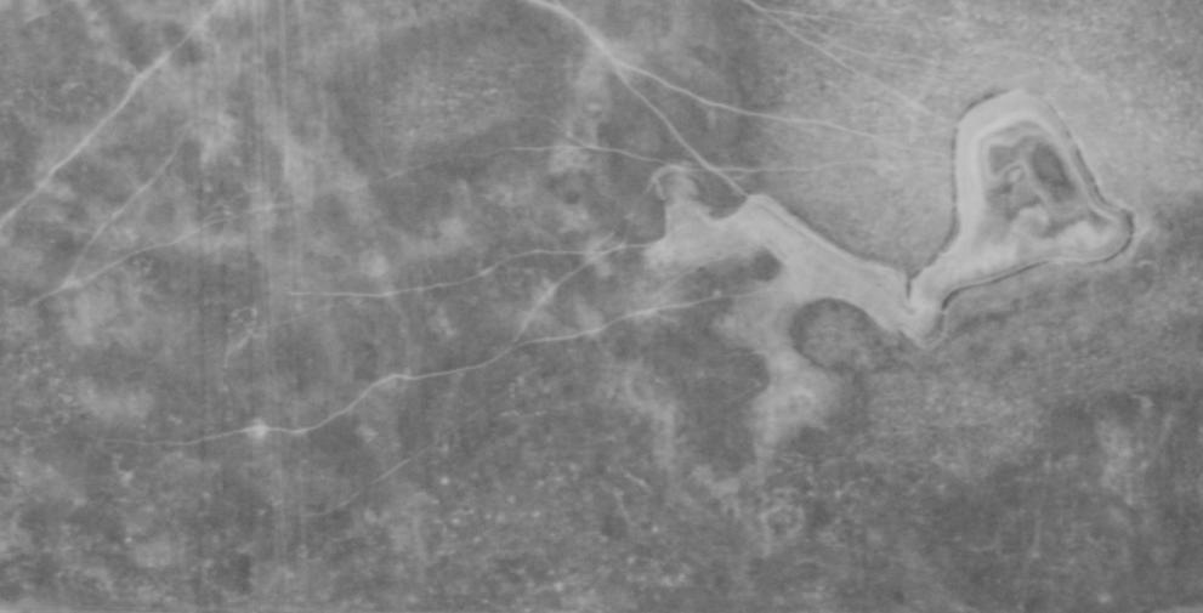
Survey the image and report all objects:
road: (545, 6)

